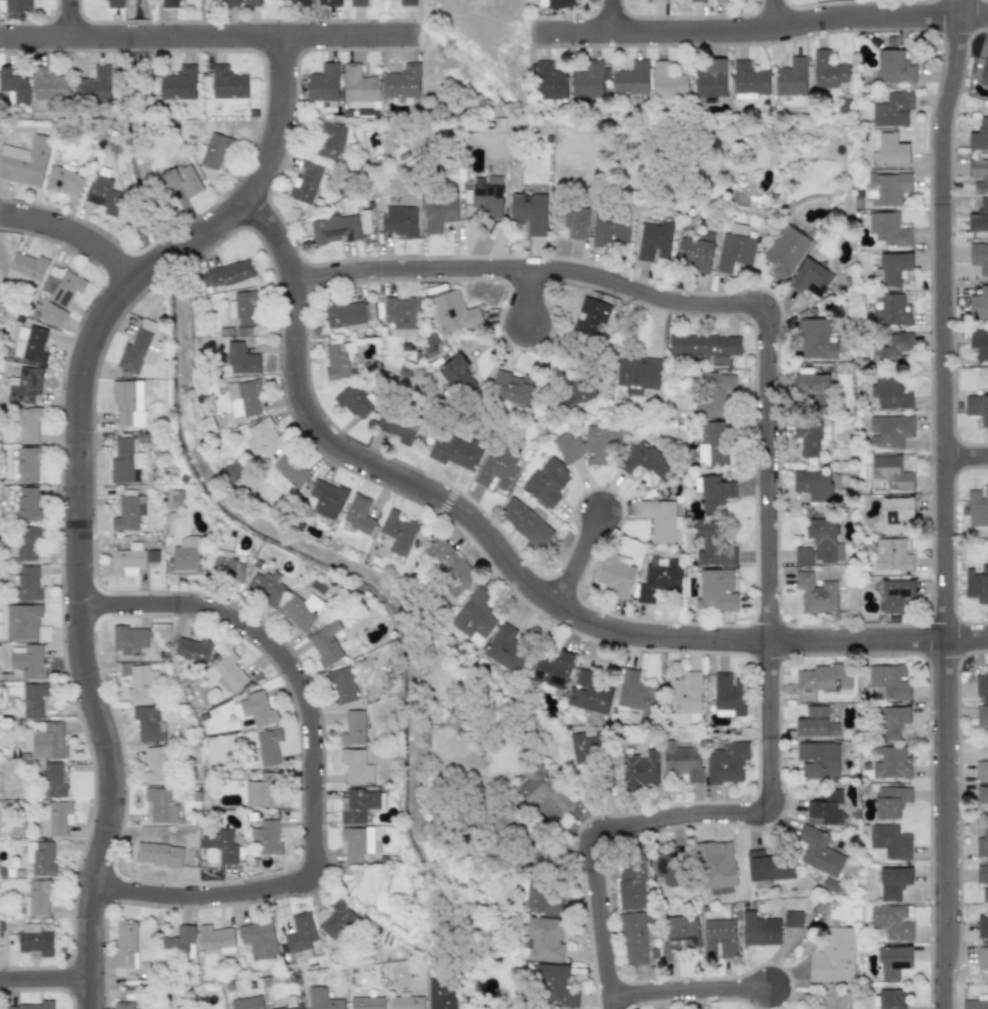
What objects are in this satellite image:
building: (696, 0)
building: (657, 1)
building: (721, 1)
building: (229, 2)
building: (300, 2)
building: (357, 2)
building: (168, 3)
building: (252, 3)
building: (328, 3)
building: (407, 3)
building: (113, 4)
building: (555, 4)
building: (16, 5)
road: (775, 18)
road: (614, 20)
road: (72, 22)
road: (763, 38)
road: (213, 43)
building: (894, 67)
building: (828, 71)
building: (985, 72)
building: (630, 78)
building: (791, 78)
building: (710, 79)
building: (588, 80)
building: (749, 81)
building: (402, 82)
building: (549, 82)
building: (667, 82)
building: (178, 83)
building: (323, 83)
building: (14, 84)
building: (49, 85)
building: (93, 85)
building: (359, 88)
building: (892, 110)
building: (979, 136)
building: (330, 141)
building: (212, 150)
building: (891, 150)
building: (24, 162)
building: (978, 175)
building: (181, 179)
building: (64, 181)
building: (306, 182)
building: (887, 188)
building: (103, 195)
building: (487, 195)
building: (438, 212)
building: (529, 213)
building: (979, 214)
building: (398, 221)
building: (575, 222)
building: (335, 229)
building: (737, 229)
building: (887, 229)
building: (608, 232)
road: (77, 239)
building: (653, 241)
building: (785, 250)
building: (734, 251)
building: (696, 252)
building: (979, 257)
building: (892, 267)
building: (26, 269)
building: (226, 274)
building: (810, 278)
building: (62, 287)
road: (533, 300)
building: (979, 304)
building: (243, 308)
building: (890, 309)
building: (454, 313)
building: (349, 314)
building: (51, 315)
building: (402, 315)
building: (588, 321)
building: (815, 339)
building: (979, 343)
building: (34, 345)
building: (704, 345)
building: (139, 348)
building: (892, 348)
building: (241, 359)
building: (338, 360)
building: (637, 374)
building: (457, 375)
building: (24, 385)
building: (512, 388)
building: (811, 388)
building: (573, 392)
building: (714, 393)
building: (891, 393)
building: (243, 399)
building: (128, 402)
building: (353, 402)
building: (977, 408)
building: (26, 424)
building: (396, 430)
building: (890, 430)
building: (811, 437)
building: (263, 438)
building: (713, 443)
building: (588, 445)
building: (454, 453)
road: (966, 455)
building: (642, 459)
building: (124, 460)
building: (27, 464)
building: (496, 469)
building: (291, 470)
building: (891, 472)
building: (547, 482)
building: (814, 485)
road: (86, 489)
building: (713, 491)
road: (772, 498)
building: (325, 499)
road: (944, 503)
building: (27, 504)
building: (977, 507)
building: (895, 512)
building: (128, 513)
building: (358, 513)
building: (659, 519)
building: (526, 522)
building: (397, 532)
building: (824, 540)
building: (25, 542)
building: (713, 545)
building: (803, 555)
building: (891, 555)
building: (152, 556)
building: (185, 556)
road: (577, 559)
building: (127, 560)
building: (225, 568)
building: (451, 568)
road: (517, 571)
building: (615, 577)
building: (659, 579)
building: (26, 583)
building: (976, 584)
building: (265, 587)
building: (716, 591)
building: (816, 594)
building: (894, 596)
building: (300, 610)
building: (475, 617)
building: (21, 622)
building: (129, 638)
building: (325, 643)
building: (505, 648)
building: (192, 649)
building: (26, 660)
building: (553, 670)
building: (228, 672)
building: (823, 677)
building: (138, 681)
building: (888, 681)
building: (981, 684)
building: (342, 685)
building: (729, 692)
building: (588, 693)
building: (635, 693)
building: (685, 693)
building: (31, 701)
building: (256, 709)
building: (982, 716)
building: (892, 722)
building: (815, 723)
building: (148, 724)
building: (353, 728)
building: (47, 740)
building: (584, 746)
building: (266, 747)
building: (818, 759)
building: (682, 761)
building: (156, 763)
building: (726, 763)
building: (891, 763)
building: (356, 766)
road: (318, 769)
building: (639, 770)
building: (981, 770)
building: (52, 780)
building: (542, 788)
building: (262, 791)
building: (982, 795)
building: (891, 801)
building: (357, 804)
building: (159, 805)
building: (826, 808)
building: (54, 818)
building: (265, 838)
building: (889, 842)
building: (220, 843)
building: (355, 843)
building: (982, 843)
building: (819, 852)
building: (158, 854)
building: (40, 857)
building: (767, 867)
building: (982, 880)
building: (893, 883)
building: (630, 884)
building: (368, 885)
building: (535, 895)
building: (36, 898)
building: (333, 917)
building: (792, 919)
building: (891, 921)
building: (982, 926)
building: (759, 930)
building: (300, 933)
building: (678, 935)
building: (633, 938)
building: (718, 938)
building: (216, 939)
building: (258, 939)
building: (544, 939)
building: (34, 941)
building: (176, 943)
building: (124, 948)
building: (833, 957)
building: (982, 958)
building: (894, 961)
building: (555, 985)
road: (47, 987)
road: (689, 991)
building: (440, 996)
building: (323, 999)
building: (890, 999)
building: (833, 1000)
building: (405, 1002)
building: (247, 1003)
building: (367, 1003)
building: (975, 1003)
building: (291, 1004)
building: (125, 1005)
building: (32, 1006)

